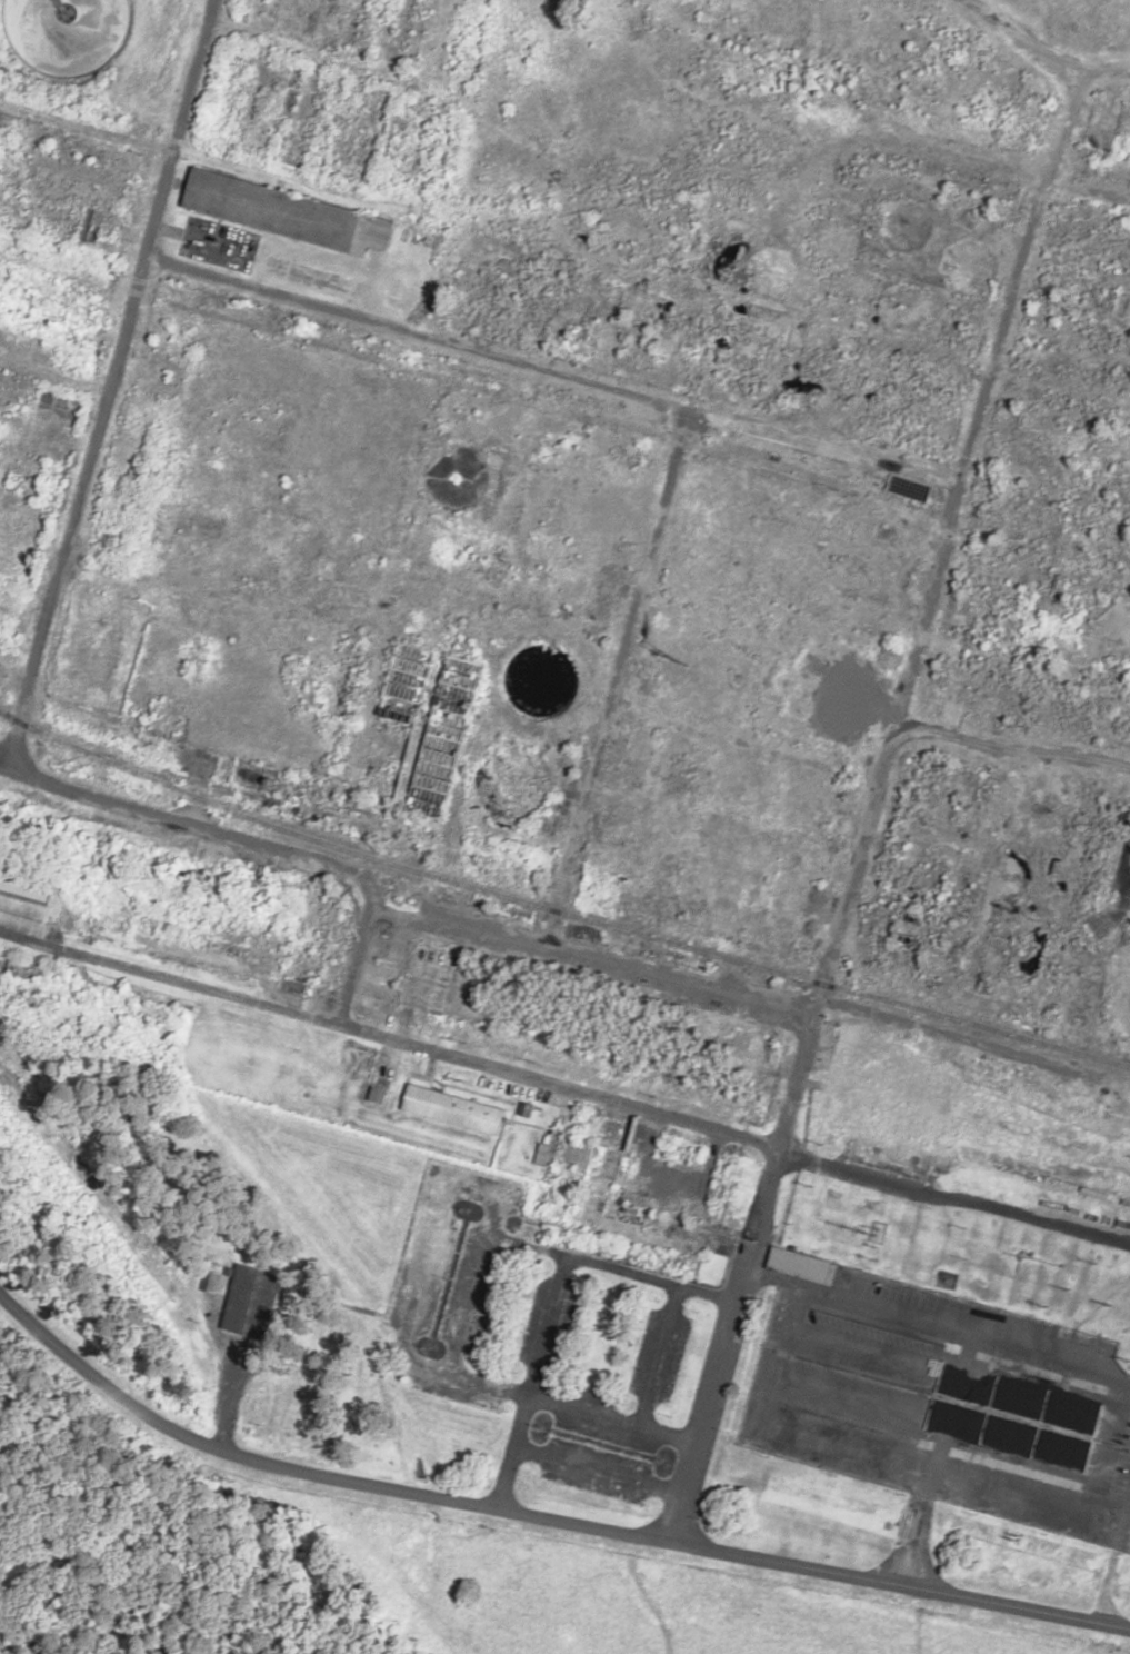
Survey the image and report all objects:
road: (1011, 33)
building: (88, 40)
building: (1036, 111)
building: (82, 155)
building: (290, 213)
building: (222, 246)
building: (176, 343)
building: (53, 431)
building: (469, 649)
road: (638, 703)
road: (1016, 749)
road: (876, 803)
road: (182, 823)
building: (24, 894)
building: (964, 899)
building: (497, 909)
railway: (557, 915)
building: (191, 947)
building: (319, 955)
building: (570, 1018)
road: (1123, 1077)
road: (563, 1089)
building: (453, 1109)
building: (611, 1194)
building: (801, 1265)
road: (553, 1297)
building: (254, 1302)
road: (657, 1357)
road: (611, 1422)
road: (541, 1514)

